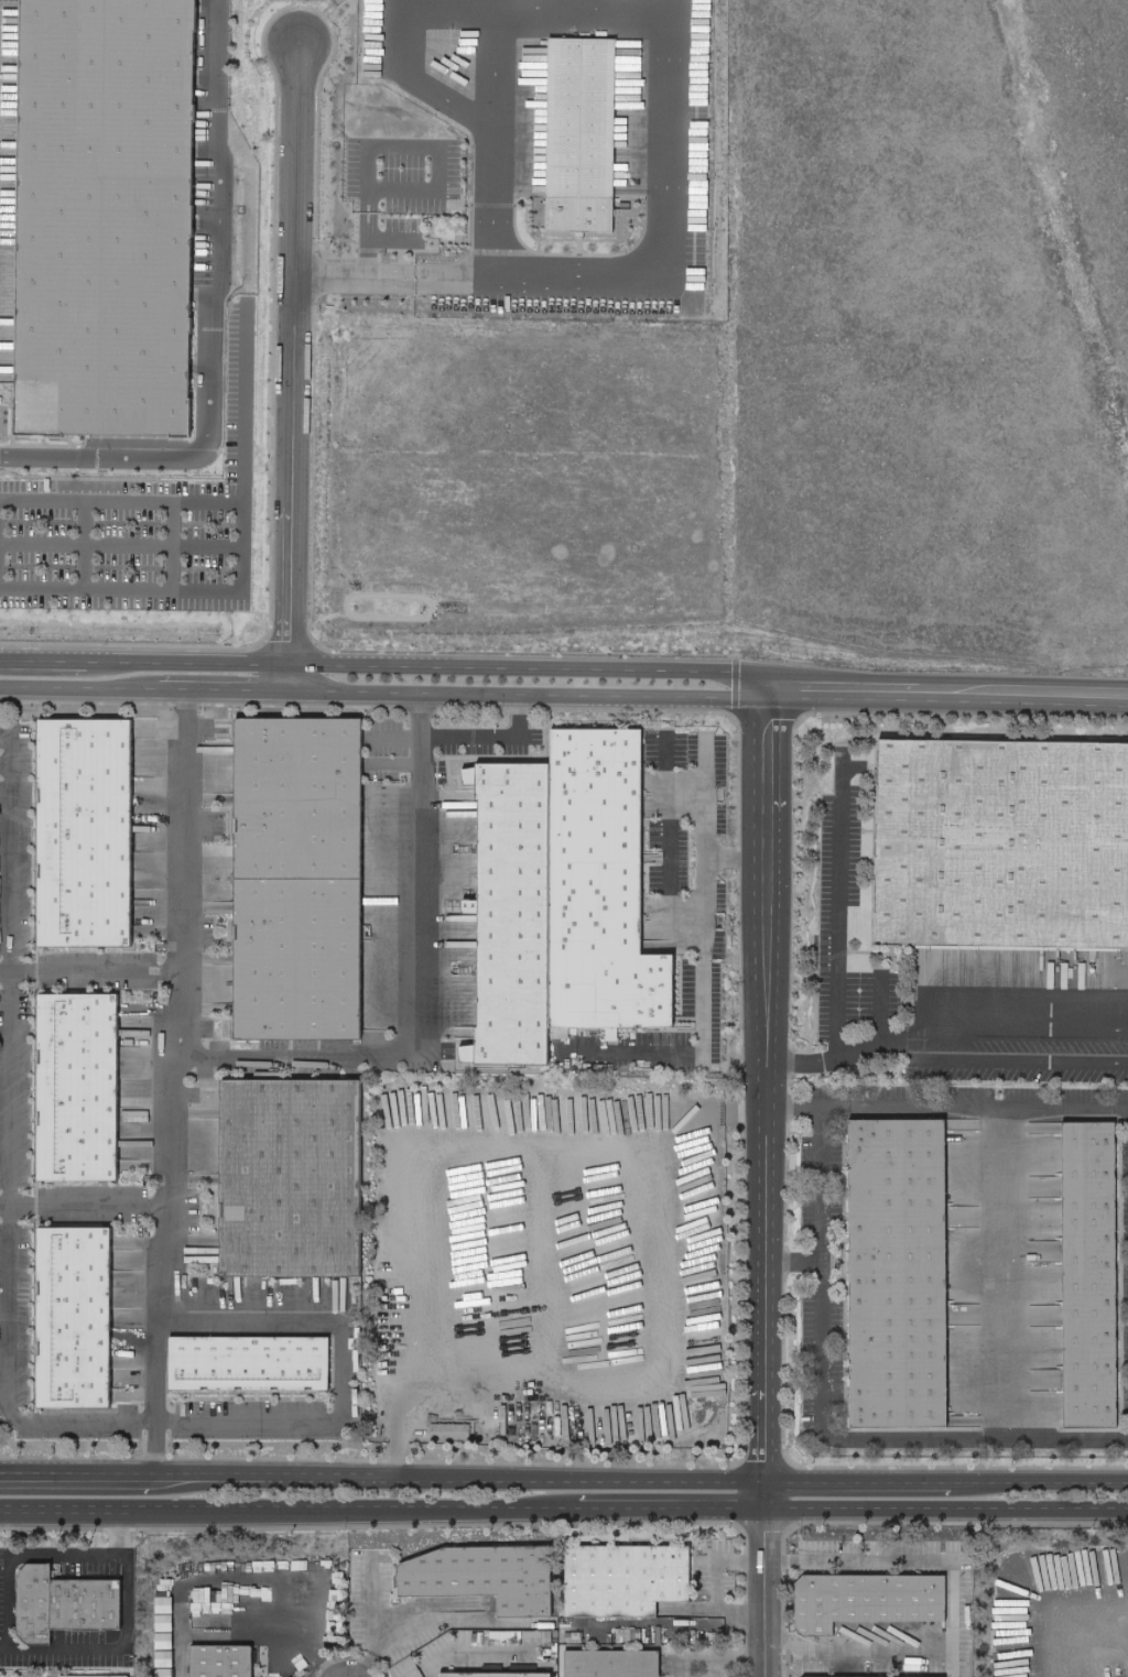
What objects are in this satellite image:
road: (668, 21)
road: (492, 65)
building: (627, 80)
building: (583, 135)
road: (437, 146)
road: (366, 193)
building: (105, 215)
road: (371, 236)
road: (209, 329)
road: (295, 353)
road: (120, 499)
road: (120, 542)
road: (83, 544)
road: (175, 545)
road: (240, 563)
road: (387, 666)
road: (950, 687)
road: (386, 693)
road: (463, 737)
road: (4, 765)
road: (666, 782)
road: (704, 830)
building: (82, 842)
building: (1001, 853)
building: (592, 887)
building: (294, 891)
road: (417, 894)
building: (471, 908)
road: (665, 911)
building: (514, 914)
road: (182, 923)
road: (832, 938)
road: (878, 1005)
road: (1033, 1028)
road: (909, 1035)
road: (702, 1037)
road: (853, 1049)
road: (1030, 1058)
road: (278, 1060)
building: (77, 1097)
road: (948, 1108)
road: (712, 1121)
road: (768, 1180)
building: (286, 1190)
road: (657, 1195)
road: (90, 1205)
road: (816, 1208)
road: (181, 1241)
road: (997, 1276)
building: (894, 1286)
building: (1087, 1291)
building: (73, 1326)
road: (2, 1369)
building: (250, 1370)
building: (451, 1431)
road: (883, 1445)
road: (69, 1479)
road: (452, 1482)
road: (857, 1484)
road: (1038, 1484)
road: (672, 1509)
road: (947, 1510)
road: (289, 1511)
road: (37, 1557)
road: (915, 1558)
building: (484, 1573)
building: (622, 1577)
road: (713, 1588)
building: (866, 1596)
building: (62, 1601)
road: (366, 1614)
road: (422, 1624)
road: (306, 1646)
road: (115, 1651)
road: (465, 1654)
road: (857, 1656)
building: (607, 1664)
building: (224, 1665)
road: (676, 1666)
building: (491, 1674)
building: (874, 1675)
building: (93, 1676)

